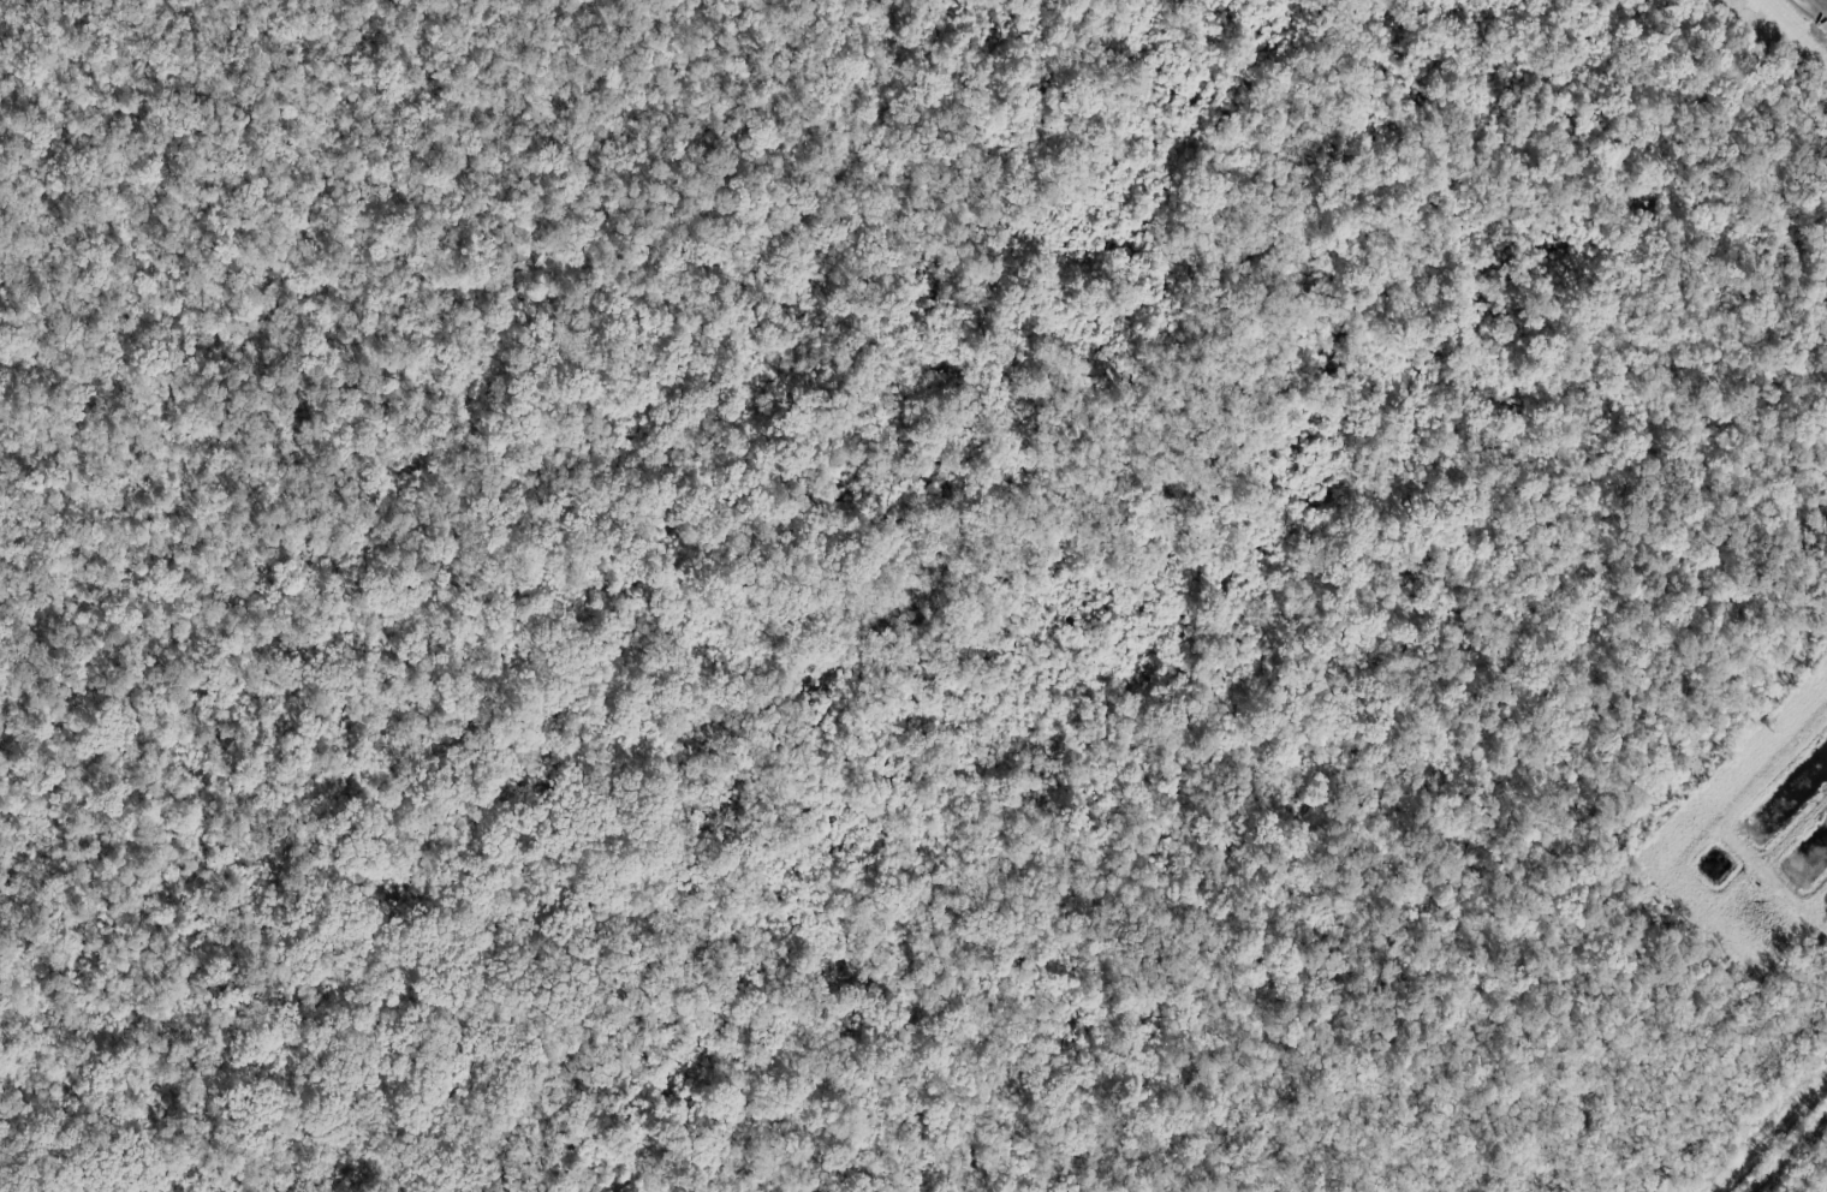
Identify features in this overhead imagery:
road: (1779, 877)
road: (1777, 1139)

